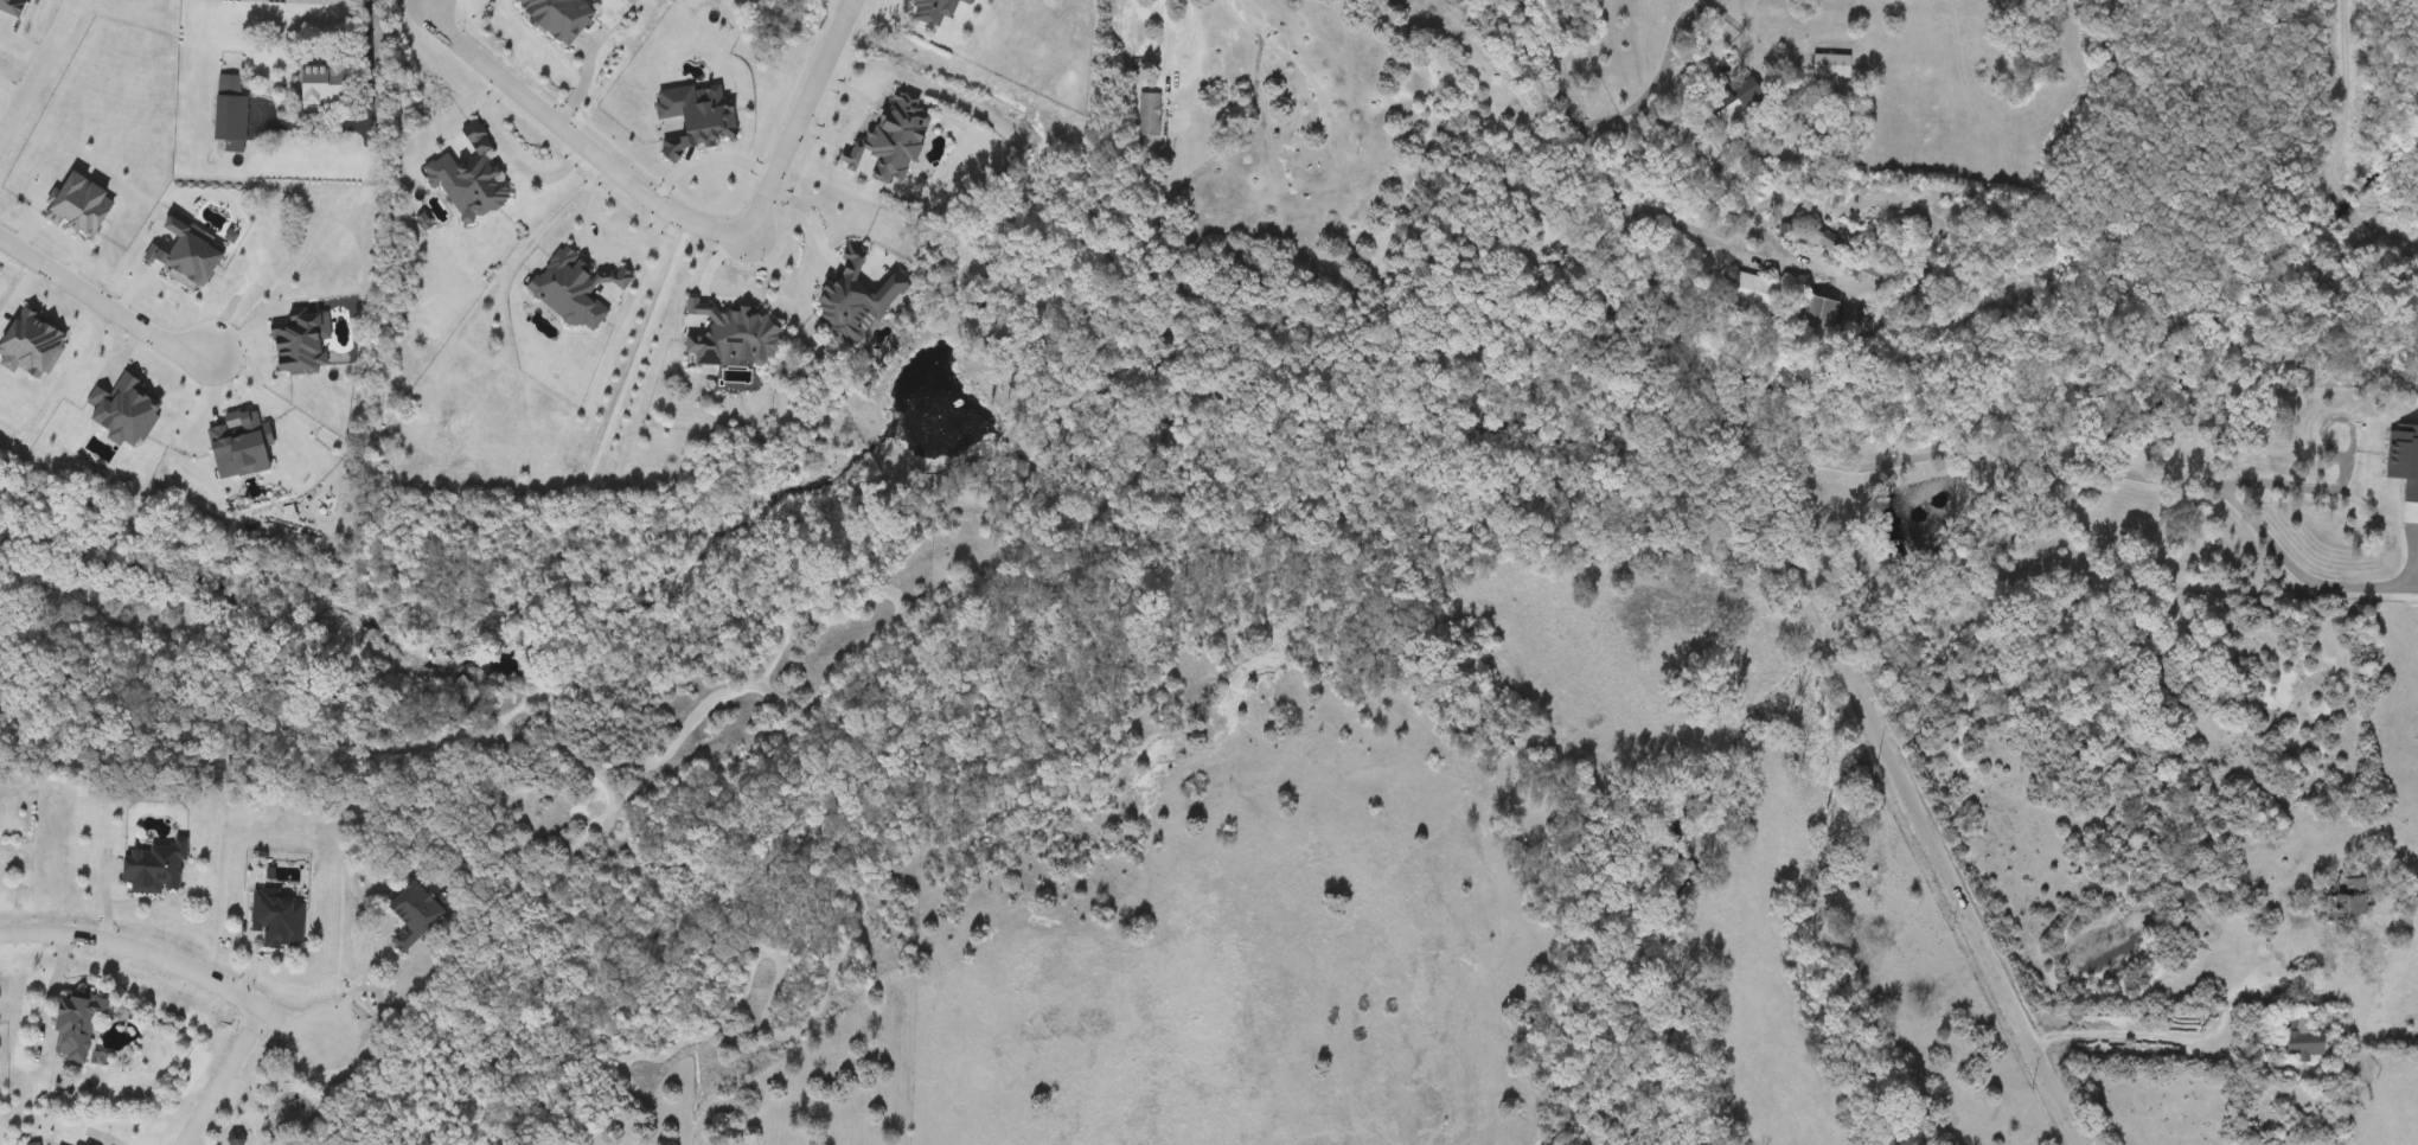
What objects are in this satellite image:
road: (1185, 31)
road: (17, 37)
building: (1829, 66)
road: (39, 70)
building: (320, 84)
building: (1736, 98)
road: (364, 108)
building: (228, 113)
building: (1147, 114)
road: (1637, 114)
road: (801, 115)
road: (572, 139)
road: (702, 148)
road: (512, 168)
building: (1808, 230)
road: (56, 238)
road: (1734, 245)
building: (1753, 294)
road: (104, 306)
building: (1815, 319)
road: (2118, 467)
road: (587, 474)
road: (2340, 476)
road: (1798, 572)
building: (152, 868)
building: (2342, 898)
building: (410, 915)
building: (274, 919)
road: (174, 967)
road: (384, 996)
road: (347, 998)
road: (50, 999)
building: (73, 1024)
building: (2301, 1040)
road: (2186, 1042)
road: (222, 1074)
building: (62, 1143)

